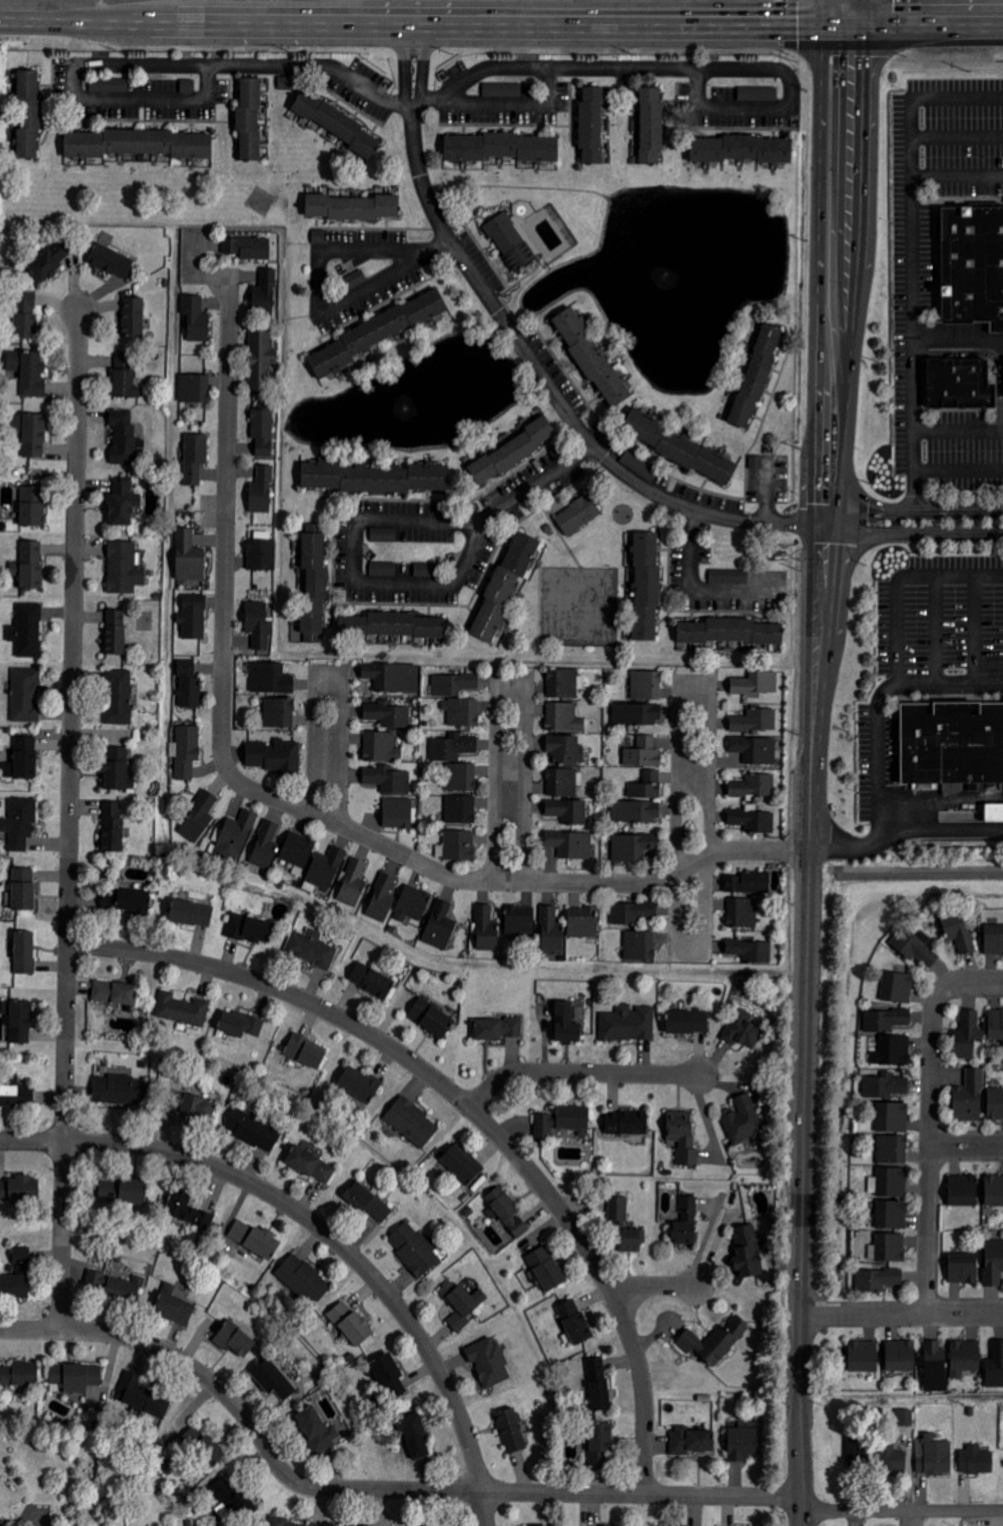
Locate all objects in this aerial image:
road: (860, 15)
road: (429, 27)
road: (931, 29)
traffic signals: (800, 30)
traffic signals: (860, 58)
road: (77, 66)
road: (787, 75)
building: (110, 85)
road: (450, 90)
building: (503, 90)
building: (28, 115)
building: (250, 119)
building: (337, 123)
building: (592, 125)
building: (651, 126)
road: (956, 136)
building: (138, 144)
building: (501, 148)
building: (742, 149)
road: (956, 176)
building: (353, 207)
road: (910, 239)
building: (510, 241)
building: (248, 247)
road: (440, 247)
road: (342, 251)
building: (111, 261)
building: (49, 262)
building: (973, 265)
parking lot: (938, 266)
building: (355, 280)
road: (380, 281)
building: (265, 293)
building: (134, 316)
building: (25, 319)
building: (196, 319)
building: (378, 332)
road: (527, 354)
building: (592, 357)
building: (261, 359)
road: (819, 371)
building: (29, 372)
building: (756, 376)
building: (125, 377)
building: (960, 384)
road: (847, 388)
building: (195, 389)
road: (958, 429)
building: (263, 431)
building: (32, 434)
building: (123, 436)
building: (683, 448)
building: (513, 451)
building: (195, 458)
building: (637, 464)
road: (959, 470)
building: (375, 478)
road: (539, 483)
road: (226, 486)
building: (262, 491)
road: (915, 491)
building: (123, 502)
building: (32, 506)
road: (920, 512)
building: (578, 516)
road: (829, 525)
road: (920, 533)
building: (384, 535)
building: (262, 555)
building: (189, 557)
building: (29, 566)
building: (124, 568)
building: (383, 569)
building: (424, 569)
road: (899, 579)
road: (357, 581)
building: (505, 585)
building: (646, 586)
building: (314, 587)
road: (699, 589)
building: (193, 617)
building: (259, 625)
building: (392, 626)
road: (975, 628)
road: (937, 629)
building: (27, 630)
building: (115, 632)
building: (730, 632)
building: (271, 679)
building: (394, 679)
building: (564, 683)
building: (453, 684)
building: (756, 684)
building: (647, 686)
building: (189, 689)
building: (26, 695)
building: (120, 697)
building: (462, 712)
building: (279, 713)
building: (388, 715)
building: (637, 715)
building: (564, 718)
building: (755, 721)
road: (880, 739)
road: (328, 742)
building: (454, 747)
building: (381, 748)
building: (565, 750)
building: (755, 750)
building: (187, 751)
building: (957, 751)
building: (644, 753)
building: (275, 756)
building: (23, 760)
building: (116, 770)
road: (509, 777)
building: (462, 778)
building: (388, 780)
building: (564, 782)
building: (753, 787)
building: (641, 801)
building: (461, 810)
building: (568, 812)
building: (399, 814)
building: (199, 818)
road: (692, 818)
building: (998, 818)
road: (70, 820)
building: (753, 820)
building: (20, 823)
building: (113, 827)
road: (939, 828)
building: (236, 836)
building: (266, 844)
building: (571, 845)
building: (457, 846)
building: (633, 847)
building: (298, 851)
building: (326, 868)
building: (353, 881)
road: (507, 882)
building: (748, 883)
building: (23, 890)
building: (382, 899)
building: (133, 902)
building: (412, 904)
building: (632, 913)
building: (742, 913)
building: (191, 914)
building: (520, 921)
building: (583, 922)
building: (440, 926)
building: (250, 930)
building: (486, 930)
building: (551, 931)
building: (959, 933)
building: (993, 940)
building: (640, 946)
building: (914, 948)
building: (312, 949)
building: (751, 950)
building: (25, 953)
building: (372, 981)
road: (968, 982)
building: (897, 988)
building: (115, 993)
building: (182, 1010)
building: (431, 1018)
building: (886, 1020)
building: (19, 1021)
building: (688, 1023)
building: (566, 1024)
building: (628, 1024)
building: (241, 1025)
building: (996, 1025)
building: (497, 1029)
building: (742, 1030)
building: (968, 1035)
building: (895, 1051)
building: (305, 1052)
road: (577, 1073)
building: (360, 1085)
building: (886, 1086)
building: (120, 1090)
building: (16, 1093)
building: (969, 1098)
building: (995, 1104)
building: (193, 1106)
road: (469, 1107)
building: (892, 1118)
building: (743, 1121)
building: (562, 1122)
building: (412, 1123)
building: (626, 1124)
building: (254, 1131)
road: (803, 1134)
building: (682, 1138)
road: (966, 1146)
building: (893, 1151)
road: (928, 1153)
building: (311, 1165)
building: (462, 1166)
building: (889, 1183)
building: (20, 1190)
building: (963, 1191)
building: (994, 1191)
building: (123, 1192)
building: (367, 1202)
building: (507, 1211)
building: (189, 1212)
building: (892, 1216)
building: (686, 1222)
building: (625, 1227)
road: (323, 1231)
building: (256, 1240)
building: (415, 1249)
building: (748, 1253)
building: (994, 1264)
building: (546, 1269)
building: (963, 1269)
building: (17, 1280)
building: (304, 1280)
building: (878, 1280)
building: (102, 1281)
road: (652, 1286)
building: (124, 1292)
building: (176, 1304)
building: (462, 1305)
road: (901, 1314)
building: (575, 1323)
building: (351, 1325)
building: (236, 1341)
building: (716, 1342)
road: (169, 1355)
building: (901, 1355)
building: (863, 1356)
building: (965, 1357)
building: (489, 1362)
building: (935, 1365)
building: (995, 1366)
building: (19, 1375)
building: (390, 1377)
building: (75, 1378)
building: (275, 1382)
building: (599, 1385)
building: (141, 1397)
building: (905, 1417)
building: (318, 1429)
building: (511, 1430)
building: (416, 1436)
building: (691, 1440)
building: (600, 1443)
building: (742, 1443)
building: (209, 1450)
building: (934, 1455)
building: (892, 1459)
building: (976, 1460)
road: (544, 1493)
road: (902, 1512)
building: (2, 1522)

